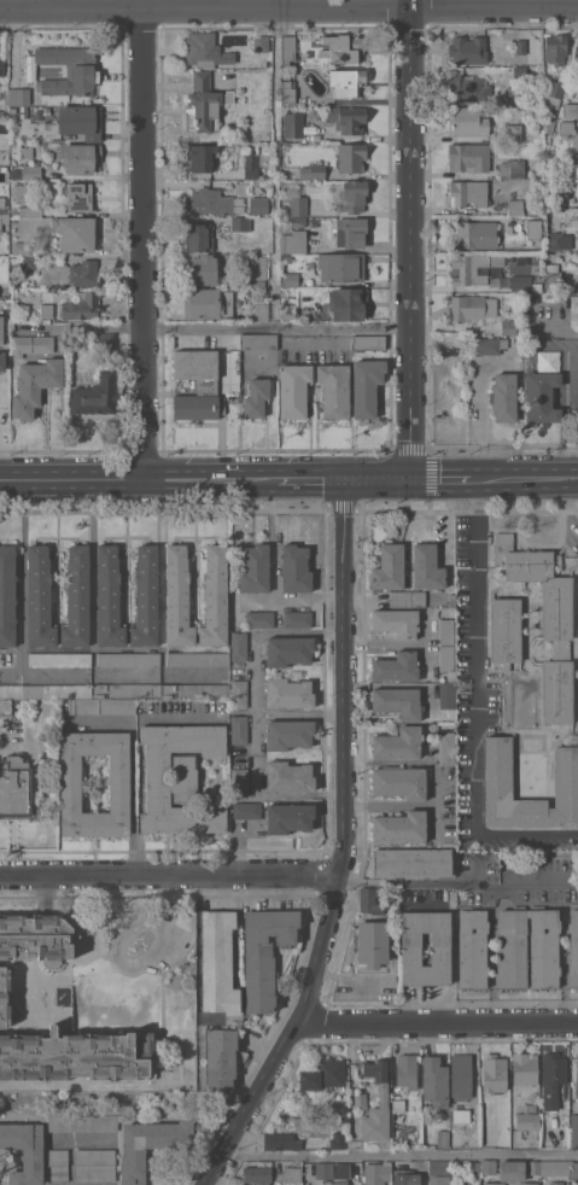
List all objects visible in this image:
road: (288, 10)
building: (261, 43)
building: (521, 46)
building: (341, 47)
building: (556, 47)
building: (205, 49)
building: (288, 49)
building: (467, 49)
building: (1, 59)
building: (577, 64)
building: (68, 70)
building: (519, 71)
building: (1, 81)
building: (348, 81)
building: (555, 88)
building: (468, 89)
building: (287, 91)
building: (21, 97)
building: (206, 101)
building: (12, 110)
building: (568, 110)
building: (1, 115)
building: (346, 118)
building: (467, 119)
building: (81, 121)
building: (293, 124)
building: (564, 128)
building: (514, 133)
building: (28, 152)
building: (81, 157)
building: (200, 157)
building: (351, 157)
building: (469, 157)
building: (251, 165)
building: (512, 168)
building: (313, 170)
building: (31, 171)
building: (23, 193)
building: (469, 193)
building: (553, 193)
building: (352, 195)
building: (80, 197)
building: (208, 203)
building: (258, 204)
building: (298, 205)
building: (515, 206)
building: (28, 211)
building: (4, 217)
building: (297, 221)
building: (240, 223)
building: (535, 229)
building: (351, 232)
building: (75, 233)
building: (473, 234)
building: (199, 237)
road: (145, 239)
road: (411, 239)
building: (559, 240)
building: (293, 241)
building: (22, 247)
building: (286, 258)
building: (28, 262)
building: (258, 267)
building: (340, 267)
building: (473, 268)
building: (203, 269)
building: (86, 273)
building: (290, 280)
building: (553, 280)
building: (514, 282)
building: (263, 293)
building: (531, 299)
building: (346, 302)
building: (206, 303)
building: (82, 305)
building: (472, 307)
building: (288, 309)
building: (47, 310)
building: (259, 310)
building: (577, 320)
road: (215, 327)
building: (508, 327)
building: (1, 333)
road: (567, 334)
building: (103, 340)
building: (258, 340)
building: (368, 342)
building: (30, 344)
building: (489, 345)
building: (2, 361)
building: (227, 369)
building: (35, 384)
building: (197, 385)
building: (366, 386)
building: (333, 389)
building: (542, 389)
building: (293, 390)
building: (94, 395)
building: (503, 396)
building: (256, 397)
road: (524, 478)
road: (139, 479)
road: (309, 479)
traffic signals: (341, 479)
road: (375, 479)
traffic signals: (410, 479)
road: (440, 479)
building: (389, 567)
building: (426, 567)
building: (255, 568)
building: (294, 568)
building: (7, 594)
building: (39, 597)
building: (77, 597)
building: (109, 597)
building: (146, 597)
road: (162, 597)
building: (177, 597)
building: (215, 597)
building: (407, 599)
building: (451, 600)
building: (556, 609)
building: (261, 619)
building: (297, 619)
building: (396, 621)
building: (446, 631)
building: (504, 632)
building: (239, 646)
building: (288, 650)
road: (474, 656)
building: (59, 659)
building: (129, 659)
building: (198, 659)
building: (448, 661)
building: (396, 666)
building: (57, 690)
building: (125, 690)
building: (194, 690)
building: (11, 691)
building: (557, 691)
building: (288, 693)
building: (239, 694)
building: (397, 701)
building: (443, 702)
building: (101, 706)
building: (6, 707)
building: (239, 729)
building: (434, 729)
building: (288, 734)
building: (398, 743)
building: (448, 747)
building: (288, 776)
building: (179, 778)
building: (239, 781)
building: (399, 782)
building: (498, 782)
building: (16, 789)
building: (71, 789)
building: (246, 810)
building: (288, 817)
building: (401, 827)
road: (525, 837)
road: (343, 847)
building: (411, 862)
road: (170, 874)
road: (460, 880)
road: (42, 893)
building: (370, 901)
road: (167, 920)
building: (36, 939)
building: (372, 942)
building: (573, 947)
building: (410, 948)
building: (472, 948)
building: (512, 948)
building: (264, 953)
building: (218, 962)
building: (5, 997)
road: (439, 1022)
building: (75, 1056)
building: (221, 1057)
building: (525, 1068)
building: (407, 1070)
building: (553, 1070)
building: (494, 1073)
building: (323, 1074)
building: (461, 1076)
building: (576, 1078)
building: (434, 1081)
building: (384, 1093)
building: (535, 1098)
building: (397, 1099)
building: (360, 1101)
building: (530, 1107)
building: (339, 1111)
building: (461, 1115)
building: (527, 1121)
building: (83, 1122)
building: (573, 1129)
building: (443, 1138)
road: (82, 1139)
building: (338, 1140)
building: (280, 1142)
building: (150, 1145)
building: (25, 1151)
road: (401, 1154)
road: (70, 1162)
building: (58, 1164)
building: (95, 1164)
building: (440, 1167)
building: (489, 1167)
building: (533, 1167)
building: (555, 1167)
building: (477, 1168)
building: (323, 1171)
building: (341, 1171)
building: (512, 1171)
building: (574, 1171)
building: (376, 1173)
building: (257, 1174)
building: (292, 1174)
building: (404, 1177)
building: (439, 1180)
building: (556, 1183)
building: (494, 1184)
building: (527, 1184)

